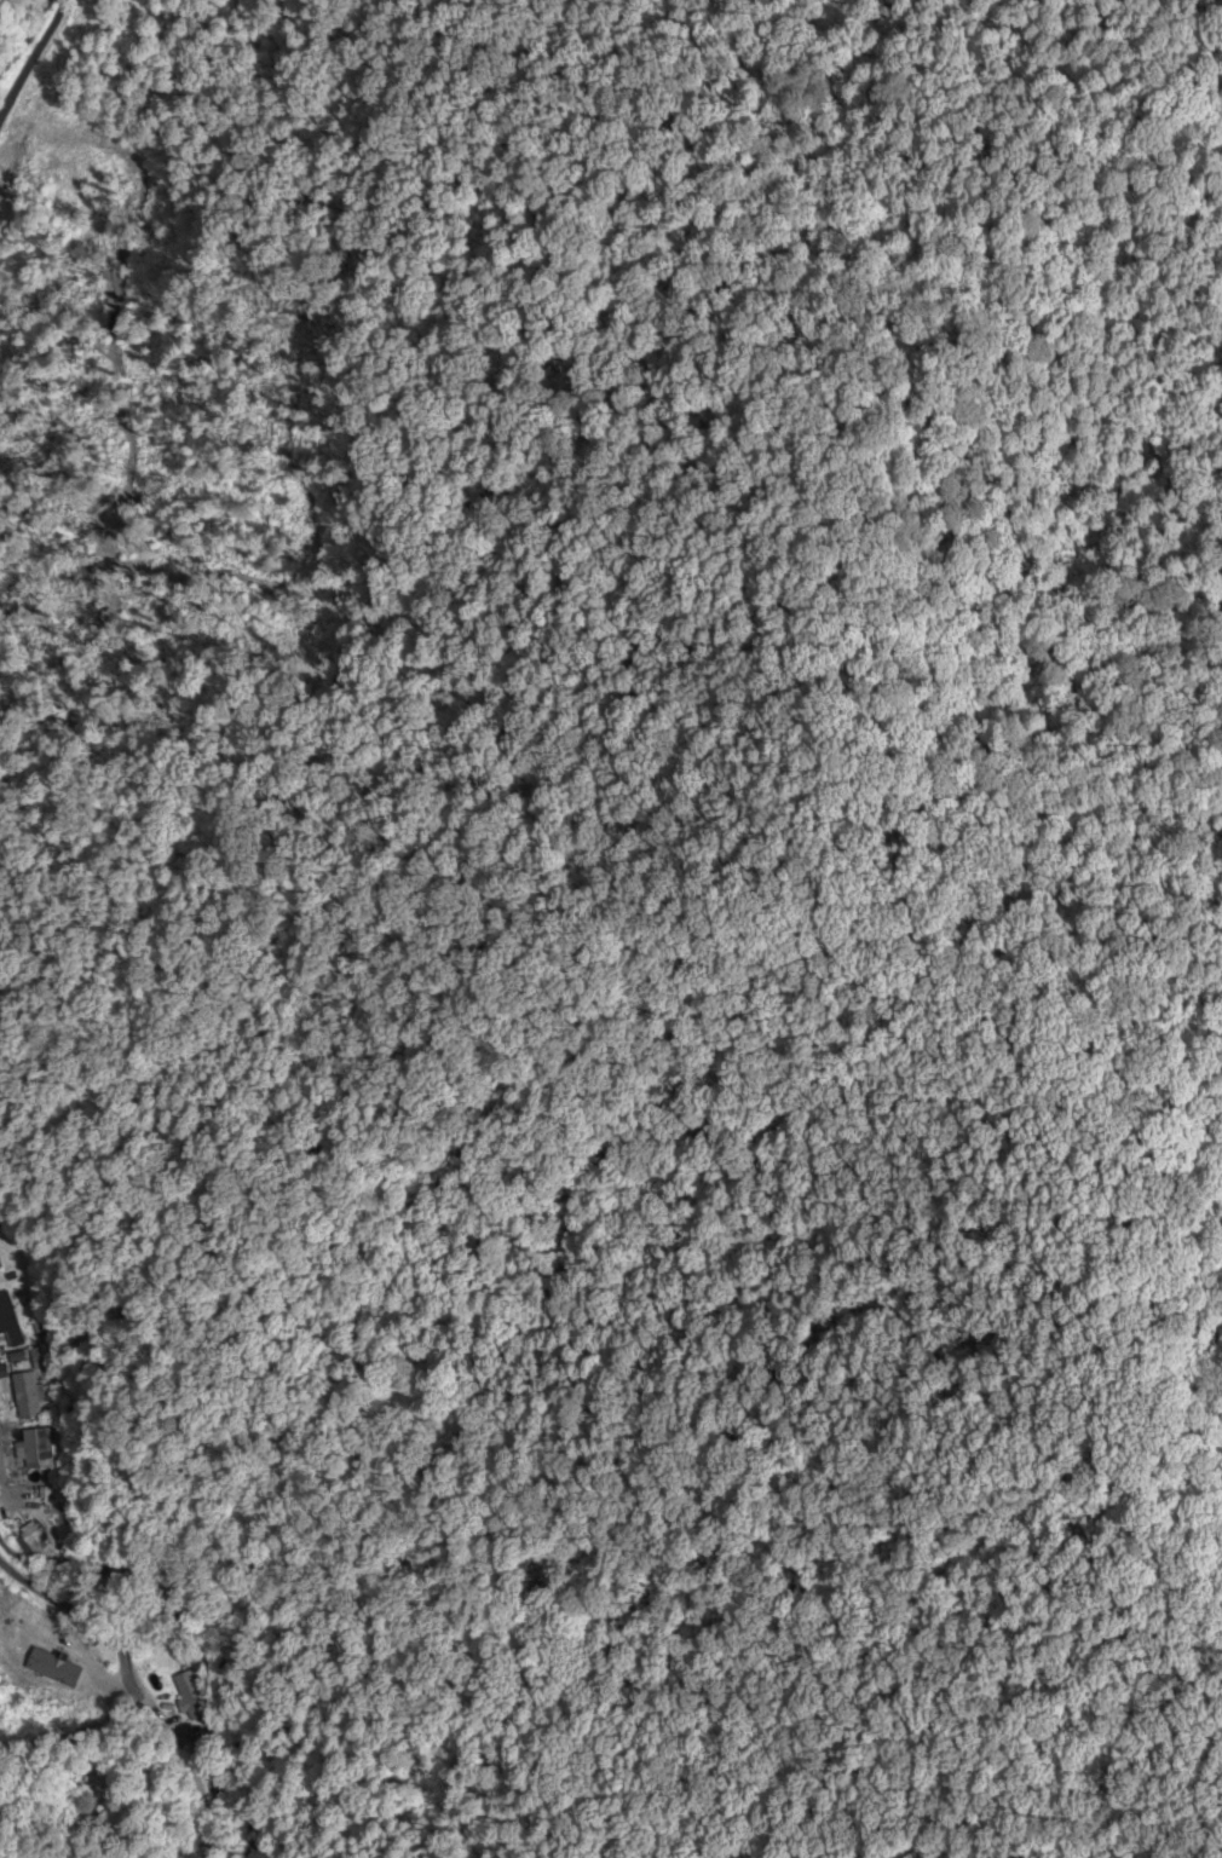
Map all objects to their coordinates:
road: (40, 67)
building: (0, 1269)
building: (8, 1323)
building: (1, 1373)
building: (25, 1396)
building: (29, 1471)
building: (31, 1540)
road: (17, 1612)
building: (11, 1622)
building: (50, 1674)
building: (190, 1698)

